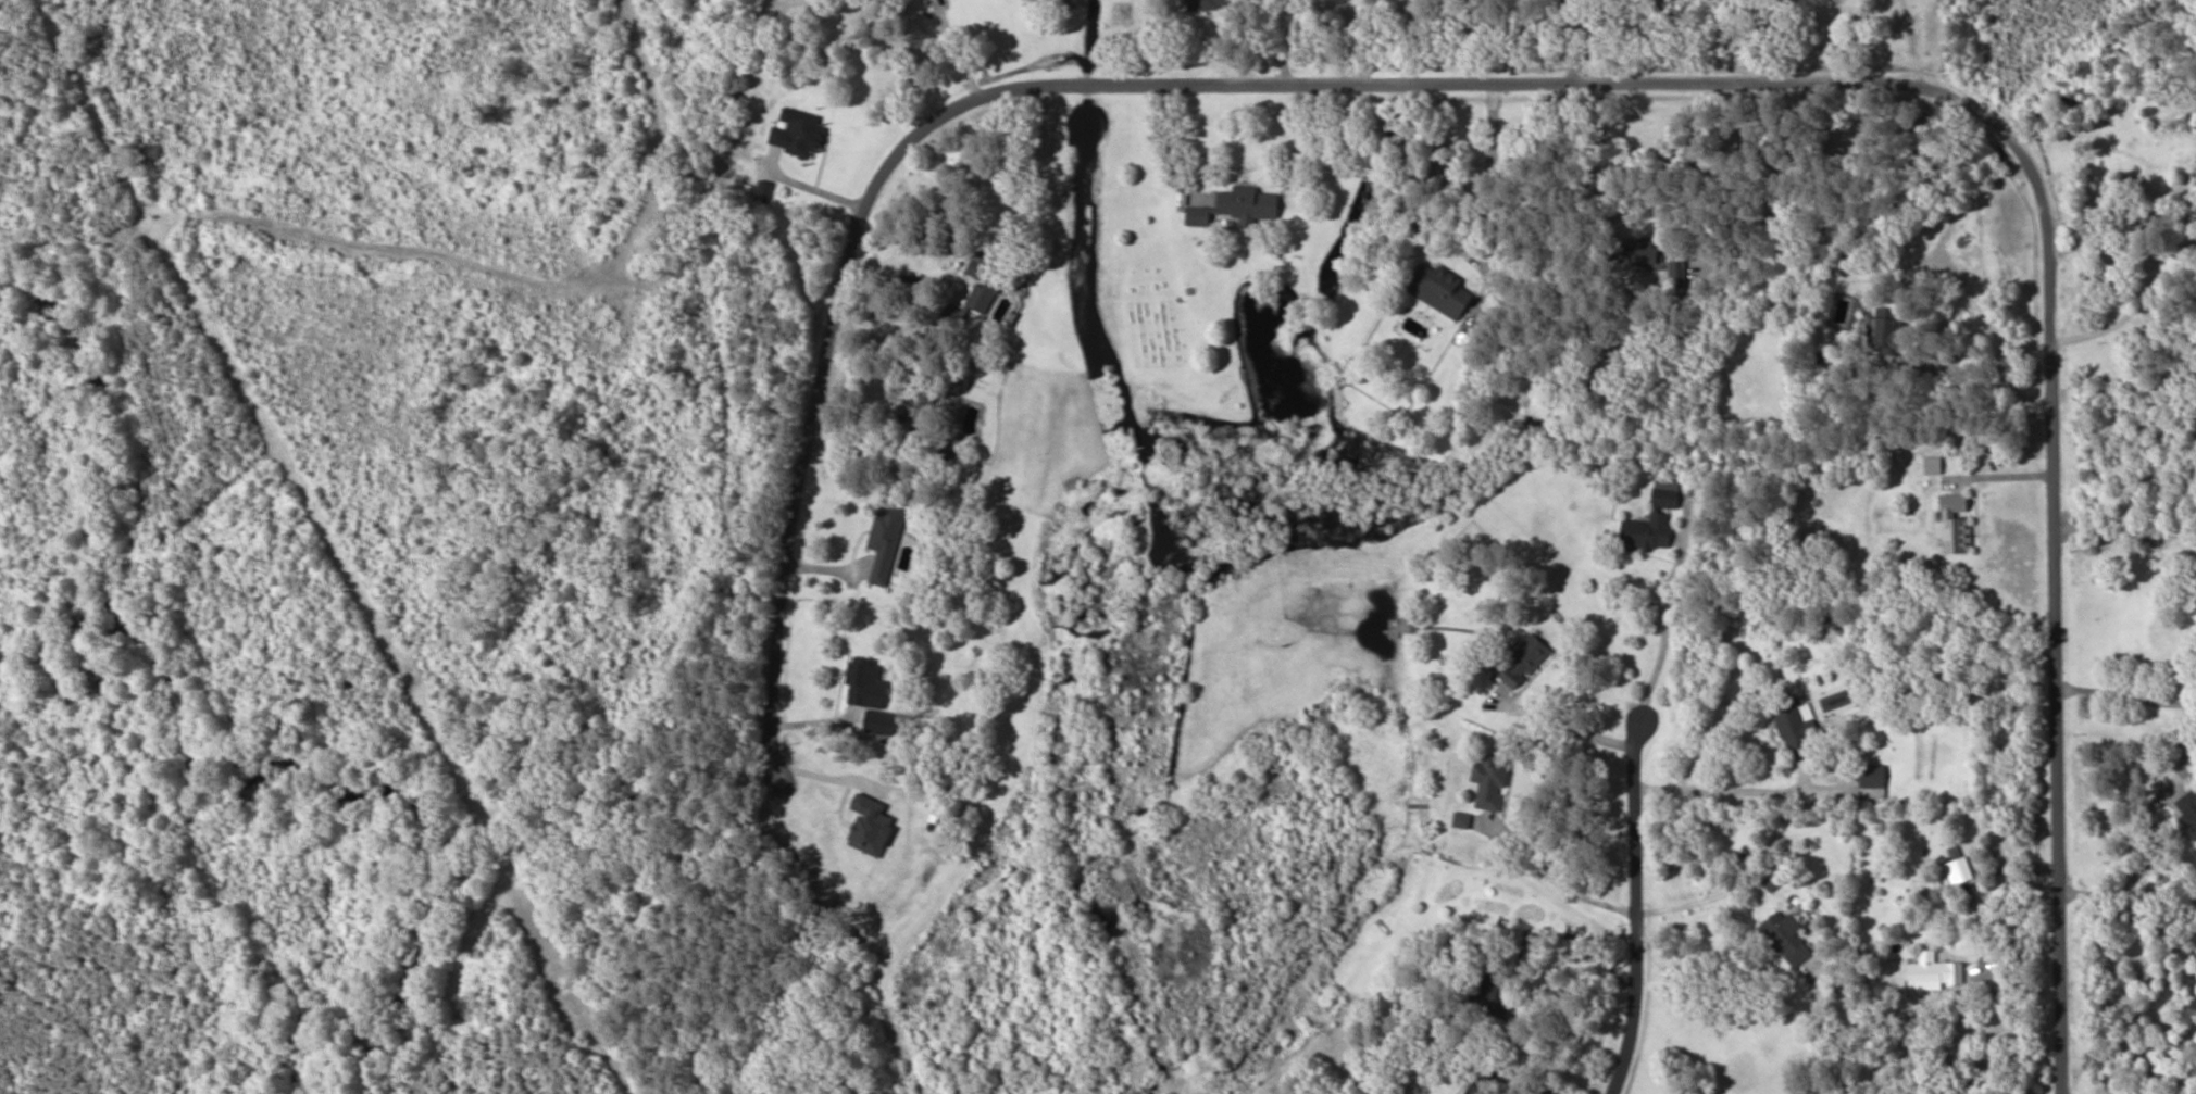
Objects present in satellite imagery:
building: (1208, 4)
road: (1632, 89)
building: (798, 133)
building: (1238, 208)
building: (1646, 255)
building: (1679, 274)
building: (982, 287)
building: (1440, 291)
building: (1886, 335)
building: (911, 423)
building: (1667, 499)
building: (1956, 525)
building: (1648, 532)
building: (886, 542)
building: (1525, 663)
building: (866, 684)
building: (883, 724)
building: (1796, 727)
building: (1873, 781)
building: (1492, 782)
road: (1735, 790)
building: (2188, 809)
building: (1463, 820)
building: (1960, 871)
building: (1776, 881)
road: (1643, 916)
building: (1787, 939)
building: (1936, 973)
building: (1489, 997)

